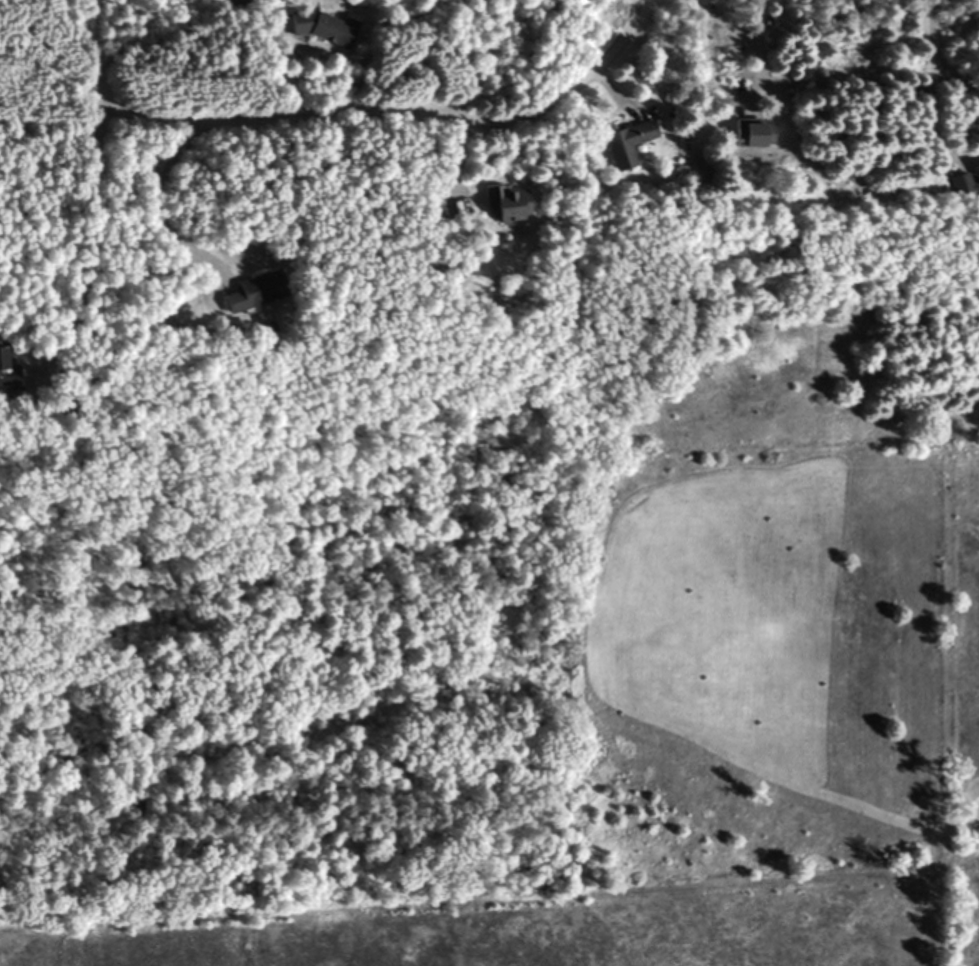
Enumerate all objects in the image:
building: (230, 5)
building: (316, 28)
road: (753, 43)
road: (954, 74)
road: (353, 108)
building: (747, 133)
building: (623, 143)
building: (967, 180)
road: (158, 185)
building: (504, 202)
road: (86, 232)
building: (248, 292)
building: (8, 375)

